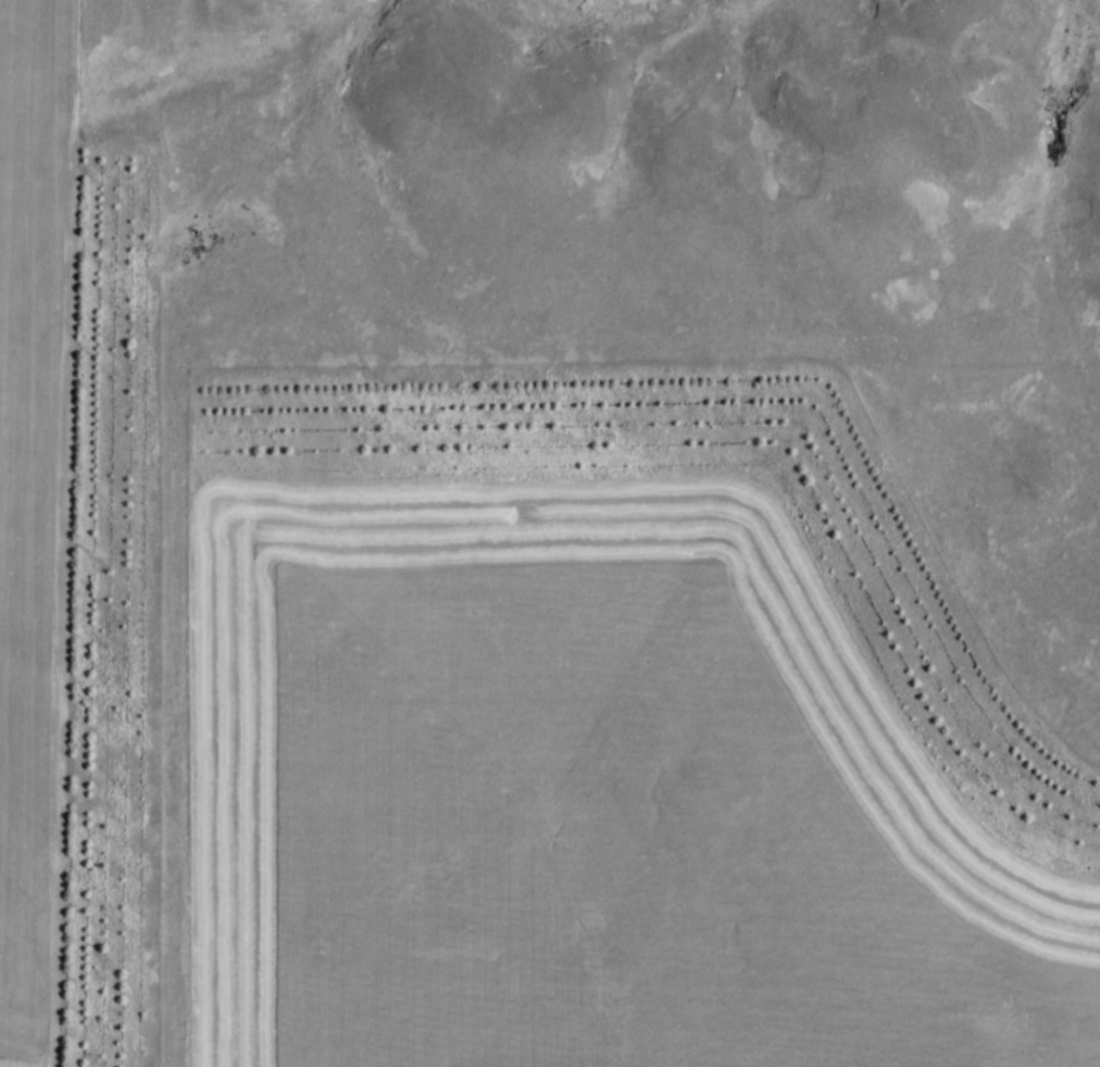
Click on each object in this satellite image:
crop: (32, 509)
crop: (580, 796)

